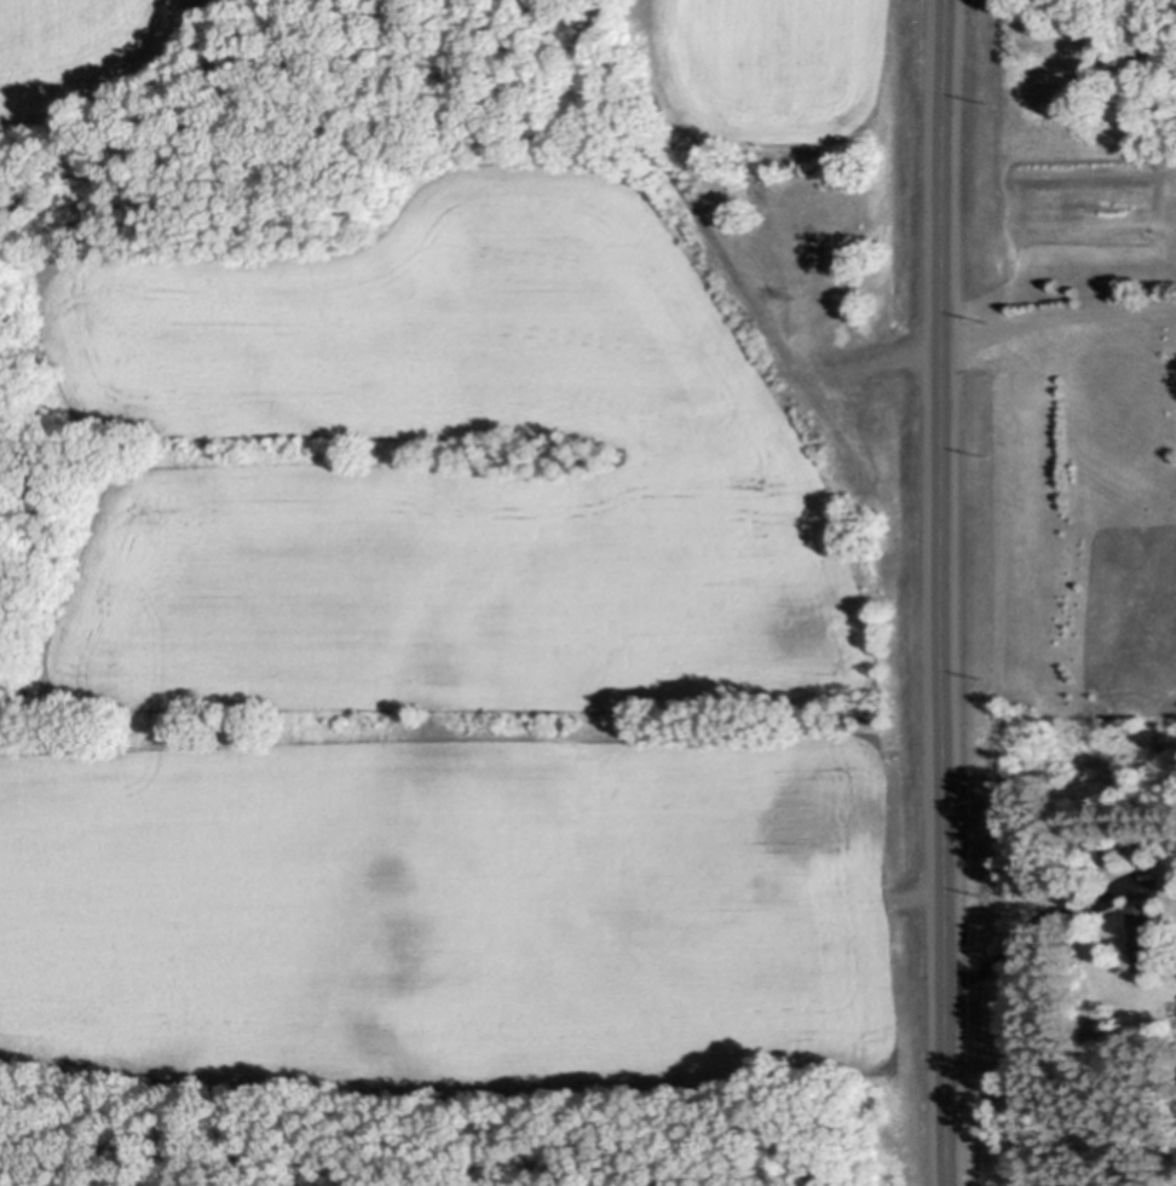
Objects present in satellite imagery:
road: (1059, 316)
road: (946, 592)
building: (1134, 844)
building: (1143, 933)
building: (1095, 1020)

